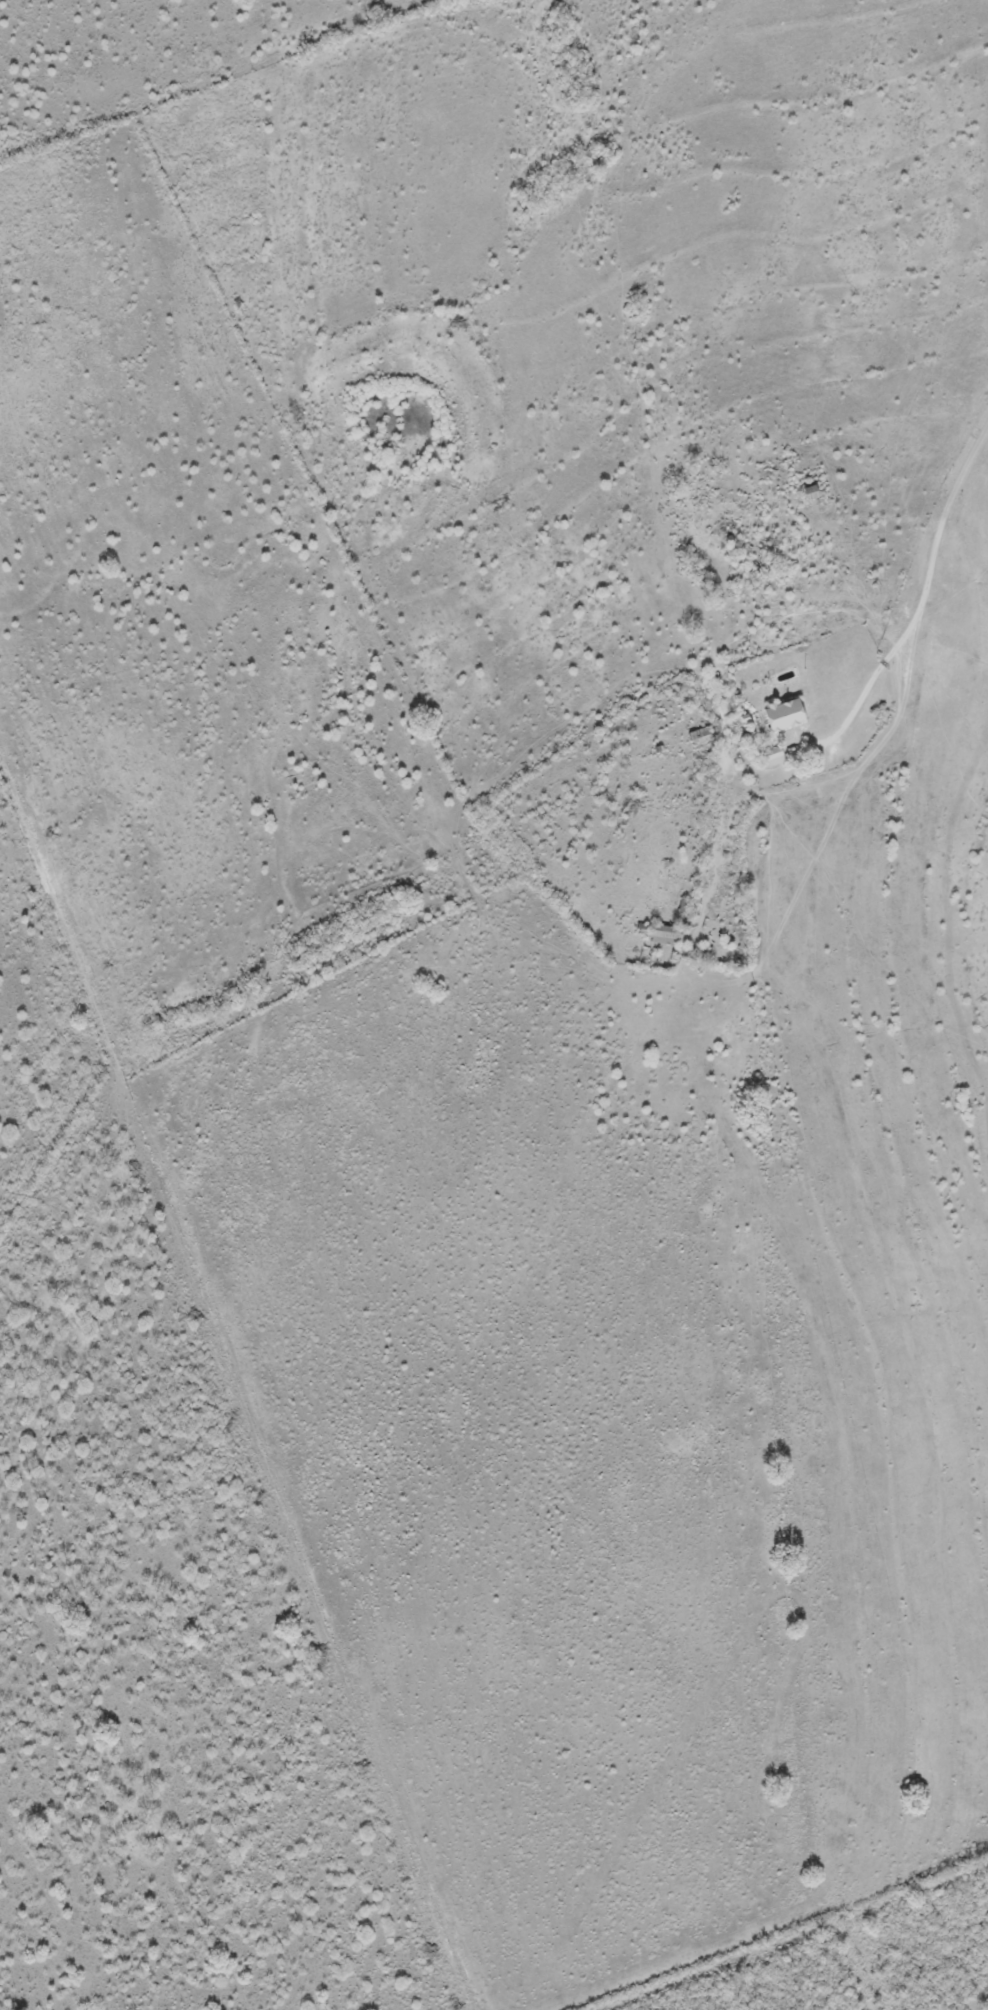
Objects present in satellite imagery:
building: (810, 491)
road: (918, 618)
building: (784, 713)
building: (773, 755)
building: (665, 934)

